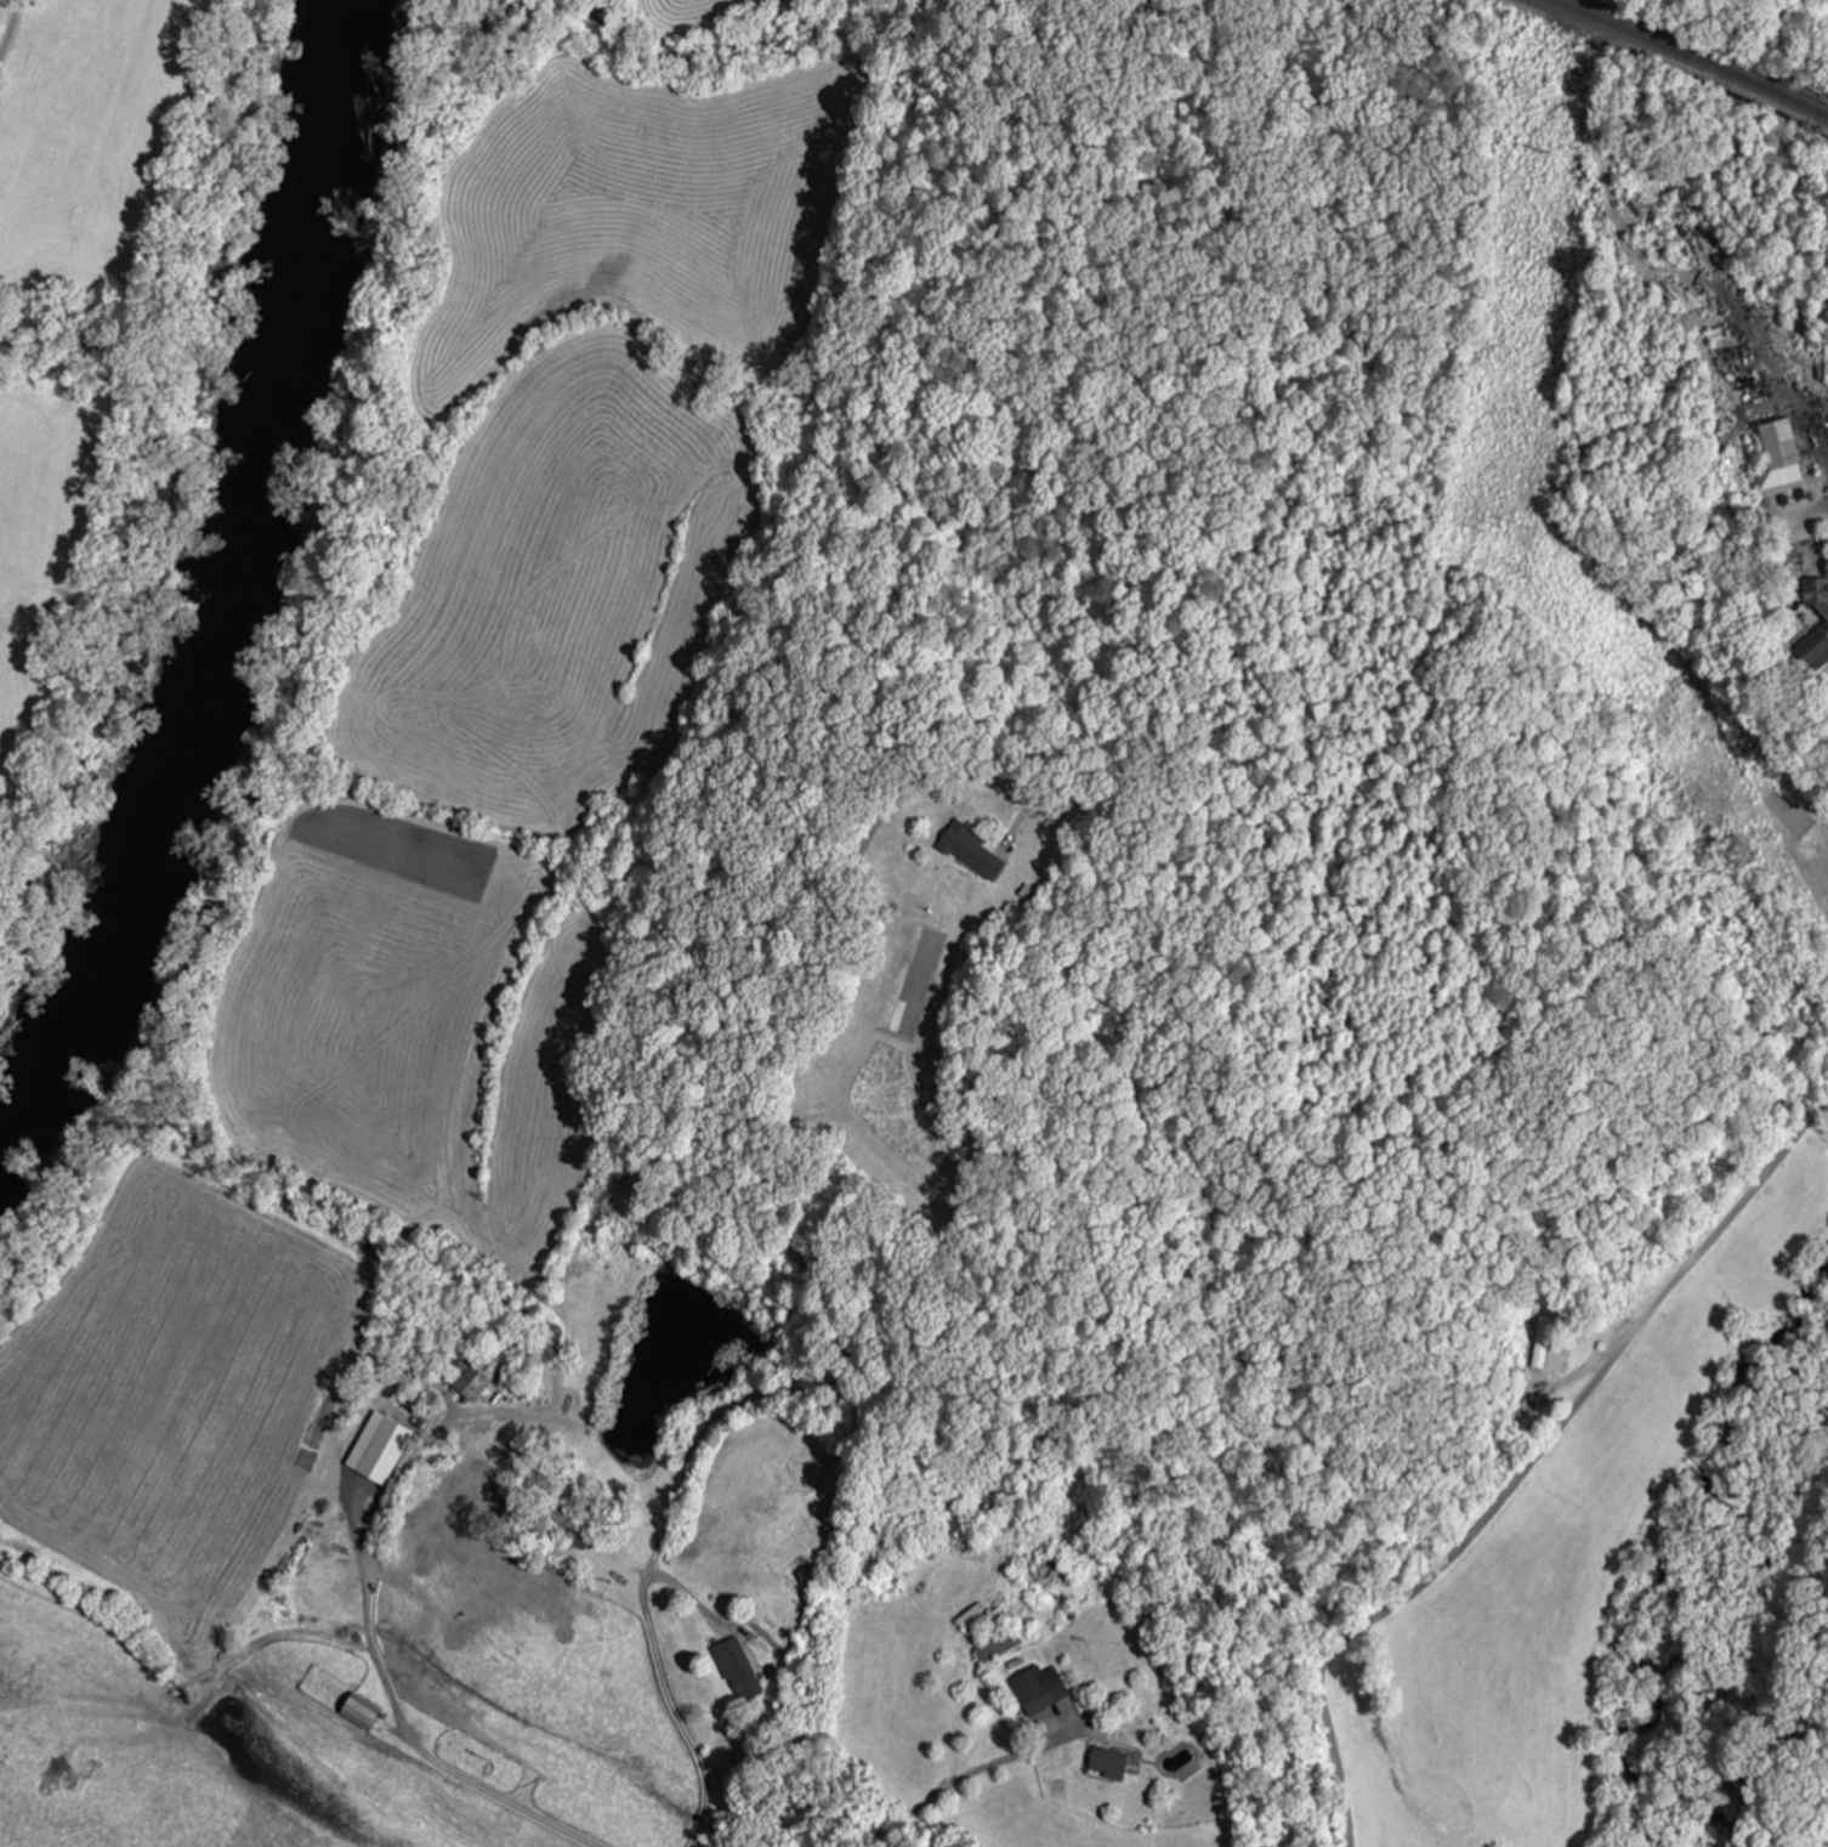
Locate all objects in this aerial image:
road: (8, 32)
railway: (1692, 53)
building: (1779, 457)
river: (212, 563)
building: (1818, 638)
building: (970, 852)
road: (788, 1250)
building: (1544, 1344)
building: (472, 1381)
building: (380, 1450)
road: (1532, 1469)
building: (574, 1540)
road: (603, 1556)
building: (997, 1648)
building: (738, 1671)
building: (1039, 1690)
building: (359, 1712)
building: (1108, 1764)

